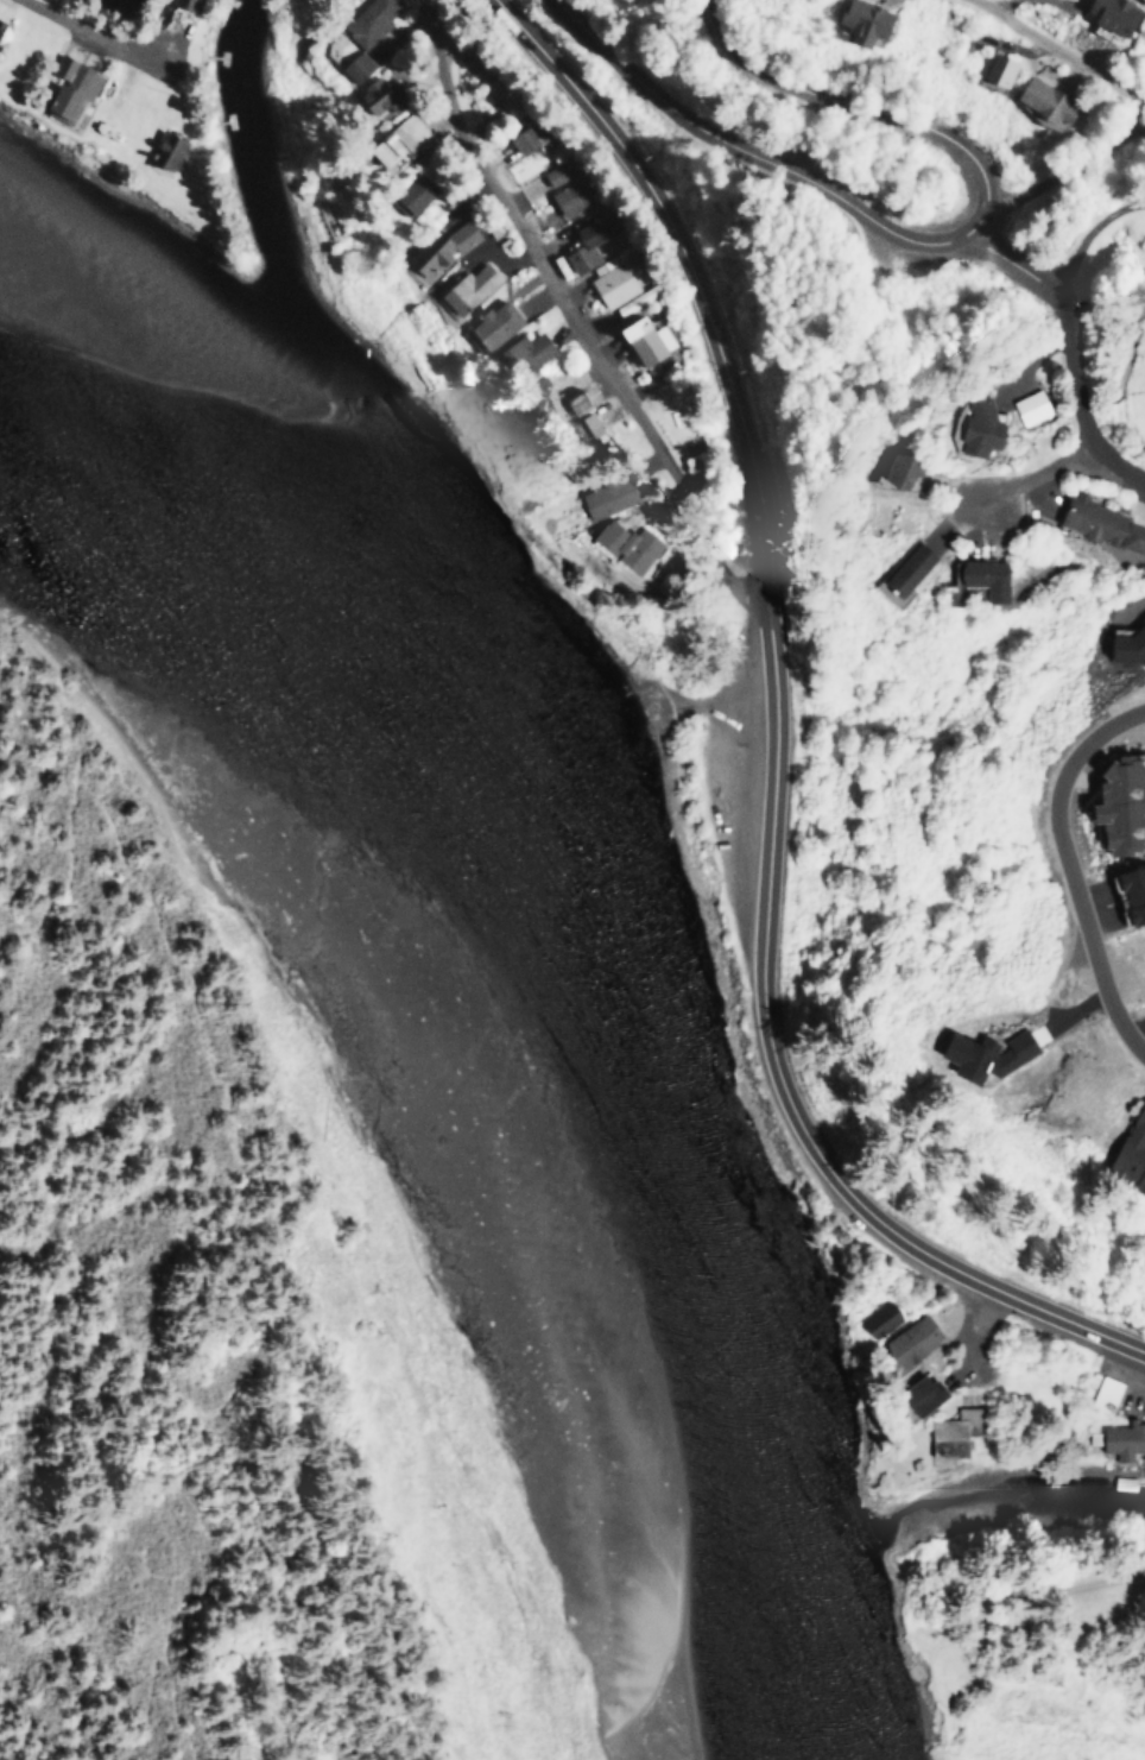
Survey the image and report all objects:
building: (183, 4)
building: (1112, 14)
building: (368, 18)
building: (0, 21)
building: (861, 21)
road: (80, 32)
road: (1063, 56)
building: (355, 64)
building: (997, 69)
building: (65, 89)
building: (1043, 103)
road: (871, 111)
building: (397, 138)
building: (520, 138)
road: (738, 150)
building: (164, 151)
building: (564, 184)
building: (412, 193)
road: (1089, 226)
building: (587, 238)
building: (441, 246)
road: (997, 257)
building: (611, 278)
building: (466, 286)
building: (634, 299)
road: (572, 310)
building: (493, 322)
building: (643, 338)
building: (523, 349)
road: (1071, 395)
building: (538, 398)
building: (575, 400)
building: (1030, 405)
building: (583, 424)
building: (976, 428)
building: (892, 469)
road: (1026, 477)
building: (616, 523)
building: (1099, 523)
building: (905, 567)
building: (980, 576)
parking lot: (721, 719)
road: (773, 739)
building: (1118, 802)
road: (1067, 871)
building: (1128, 891)
river: (512, 980)
building: (981, 1054)
building: (1130, 1150)
building: (906, 1340)
building: (1102, 1393)
building: (917, 1395)
building: (954, 1432)
building: (1121, 1439)

